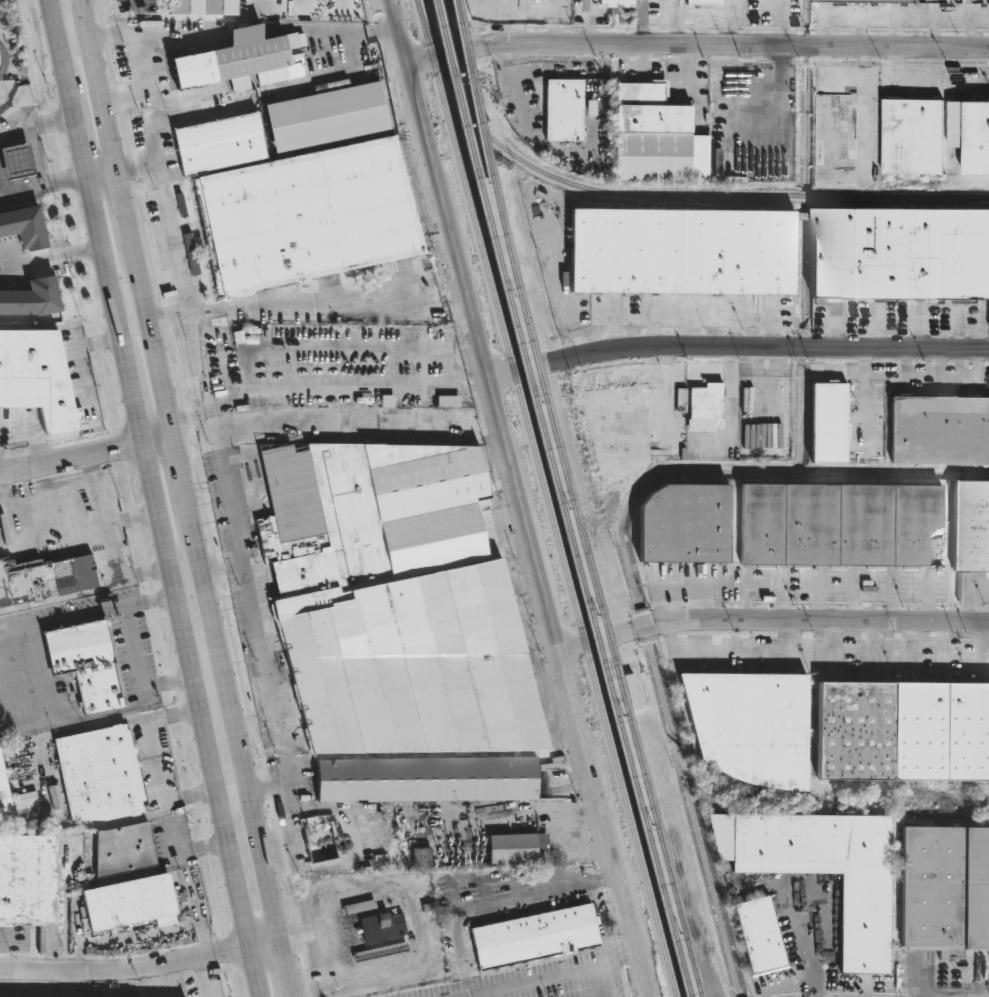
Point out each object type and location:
building: (914, 0)
building: (616, 3)
building: (703, 4)
road: (98, 7)
building: (200, 7)
road: (27, 12)
road: (365, 31)
road: (698, 46)
road: (61, 47)
park: (10, 55)
building: (238, 62)
road: (4, 64)
road: (96, 82)
road: (124, 99)
building: (245, 101)
building: (566, 110)
building: (349, 112)
road: (38, 126)
building: (286, 126)
road: (81, 133)
building: (913, 136)
road: (11, 138)
building: (657, 138)
building: (977, 138)
building: (835, 140)
building: (219, 144)
road: (36, 155)
road: (16, 161)
building: (17, 161)
road: (138, 161)
road: (103, 168)
road: (45, 181)
road: (21, 182)
railway: (796, 195)
railway: (652, 201)
road: (124, 202)
building: (308, 216)
building: (681, 255)
road: (54, 263)
building: (39, 265)
road: (111, 267)
road: (328, 300)
road: (171, 320)
road: (151, 337)
road: (736, 348)
building: (36, 379)
road: (345, 391)
road: (137, 401)
road: (213, 407)
building: (705, 407)
building: (830, 423)
road: (193, 428)
building: (619, 430)
building: (940, 430)
road: (157, 437)
road: (71, 457)
road: (180, 475)
road: (50, 494)
road: (520, 498)
railway: (545, 498)
railway: (562, 498)
railway: (573, 499)
road: (2, 504)
road: (132, 519)
building: (685, 522)
building: (841, 523)
building: (971, 525)
road: (111, 559)
road: (224, 567)
building: (43, 579)
road: (676, 584)
road: (88, 612)
building: (395, 618)
road: (774, 622)
building: (86, 664)
road: (167, 682)
road: (174, 714)
road: (93, 716)
road: (203, 718)
building: (750, 725)
road: (235, 728)
building: (903, 730)
road: (155, 759)
building: (99, 774)
road: (41, 787)
road: (191, 793)
building: (3, 798)
road: (329, 808)
railway: (6, 825)
building: (319, 837)
building: (515, 848)
building: (122, 850)
building: (420, 856)
building: (829, 872)
building: (27, 879)
road: (188, 882)
building: (945, 891)
building: (126, 903)
building: (381, 927)
building: (759, 935)
building: (534, 937)
road: (806, 943)
building: (380, 952)
road: (620, 961)
road: (141, 968)
road: (285, 968)
road: (960, 973)
road: (202, 977)
road: (545, 978)
road: (975, 979)
road: (840, 981)
road: (775, 982)
road: (974, 991)
road: (945, 992)

